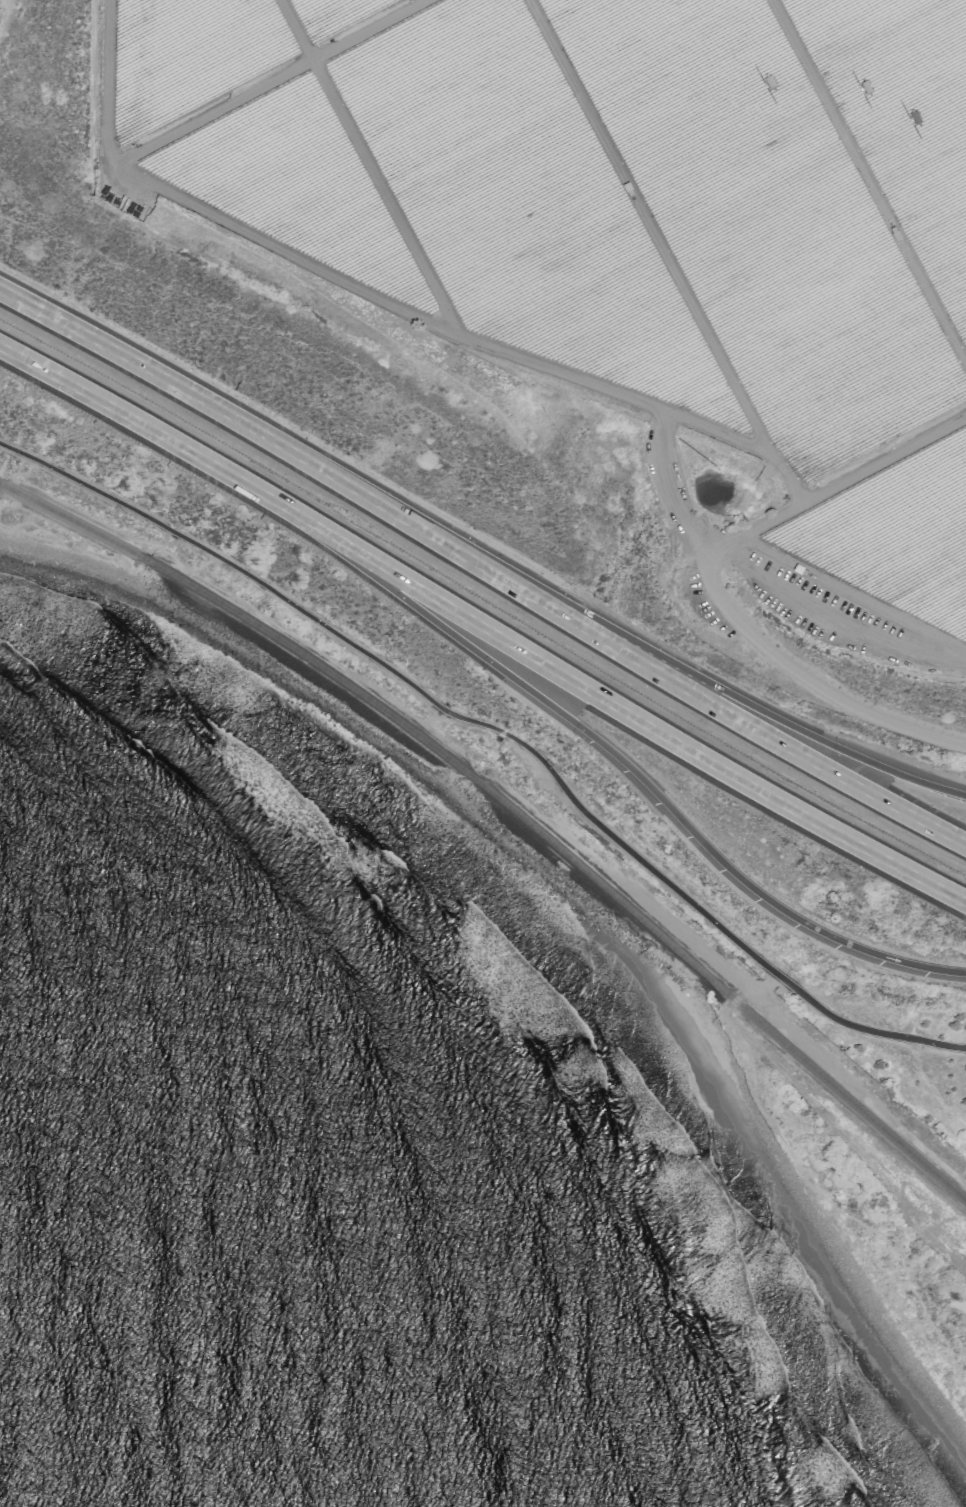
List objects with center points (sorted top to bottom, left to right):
crop: (331, 15)
crop: (188, 55)
road: (270, 81)
crop: (903, 117)
road: (366, 164)
road: (868, 183)
crop: (295, 184)
crop: (521, 201)
crop: (763, 220)
road: (663, 253)
road: (360, 287)
road: (160, 435)
road: (294, 456)
railway: (2, 485)
road: (5, 505)
road: (89, 515)
railway: (68, 518)
crop: (895, 534)
road: (177, 562)
road: (706, 578)
road: (766, 578)
road: (852, 592)
road: (313, 654)
park: (252, 663)
road: (774, 716)
road: (640, 719)
road: (499, 729)
road: (773, 739)
road: (633, 772)
railway: (566, 853)
park: (794, 1108)
road: (806, 1188)

